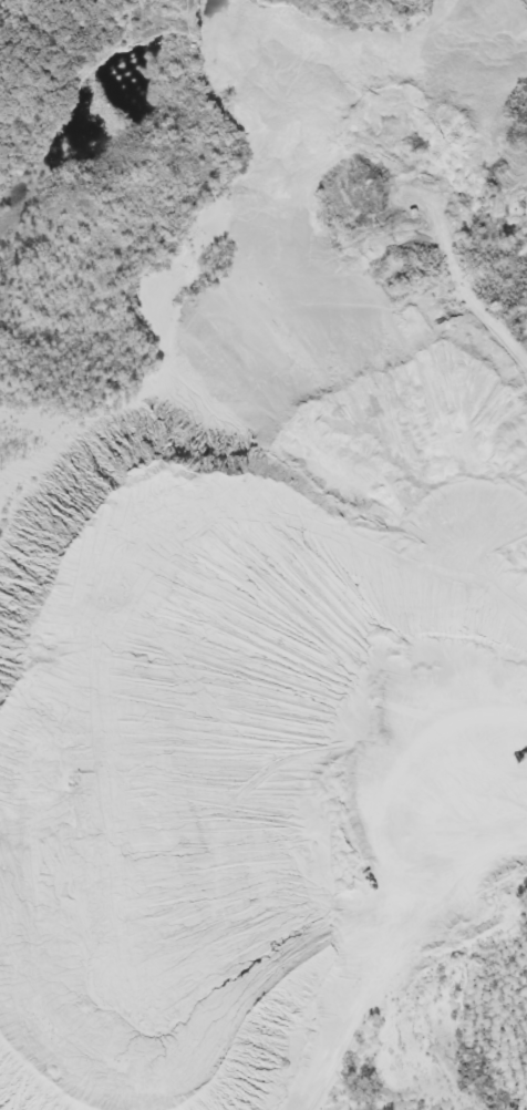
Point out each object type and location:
road: (474, 49)

